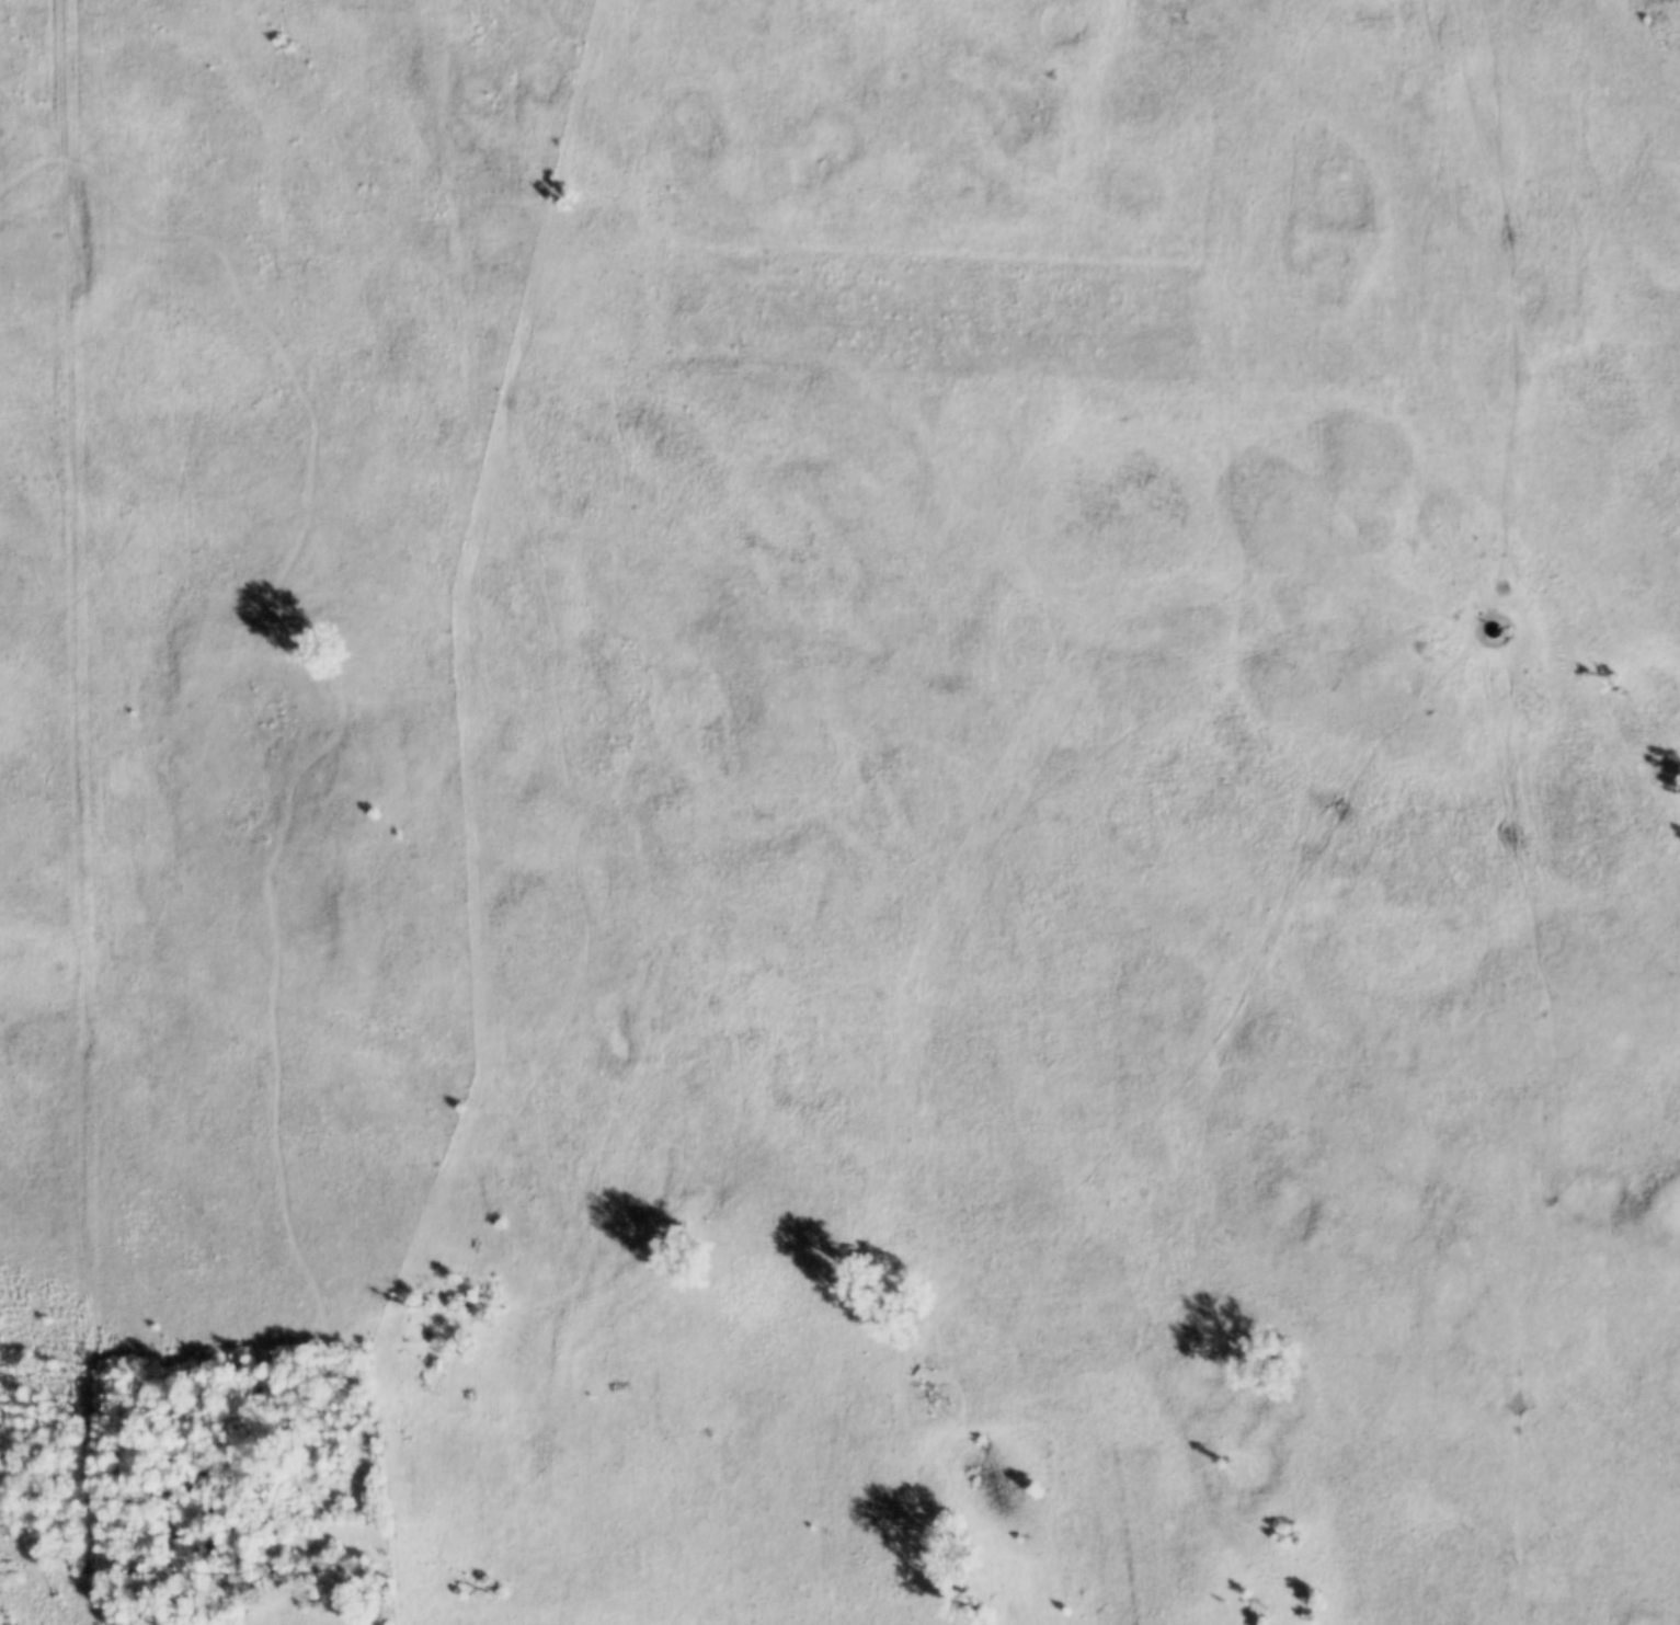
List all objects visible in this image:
road: (288, 801)
road: (42, 1578)

